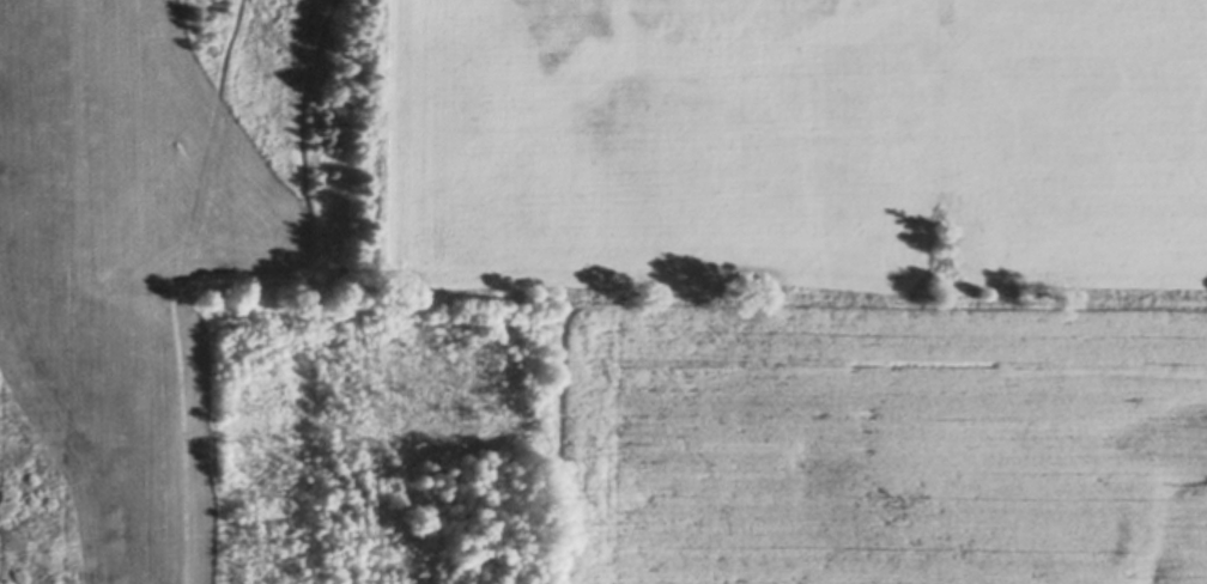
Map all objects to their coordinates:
crop: (885, 449)

